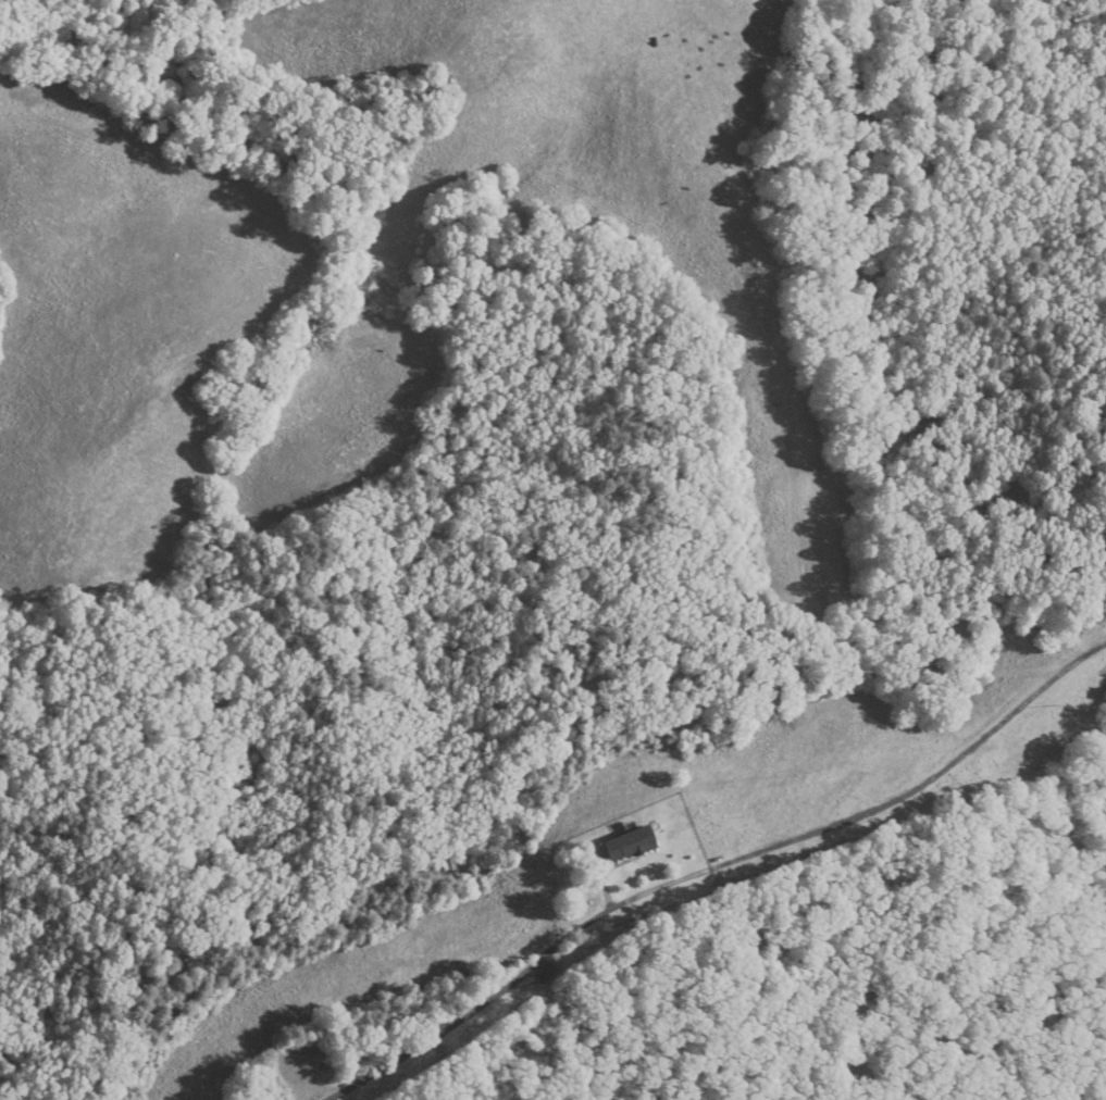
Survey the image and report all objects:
road: (863, 814)
building: (631, 845)
road: (461, 1017)

